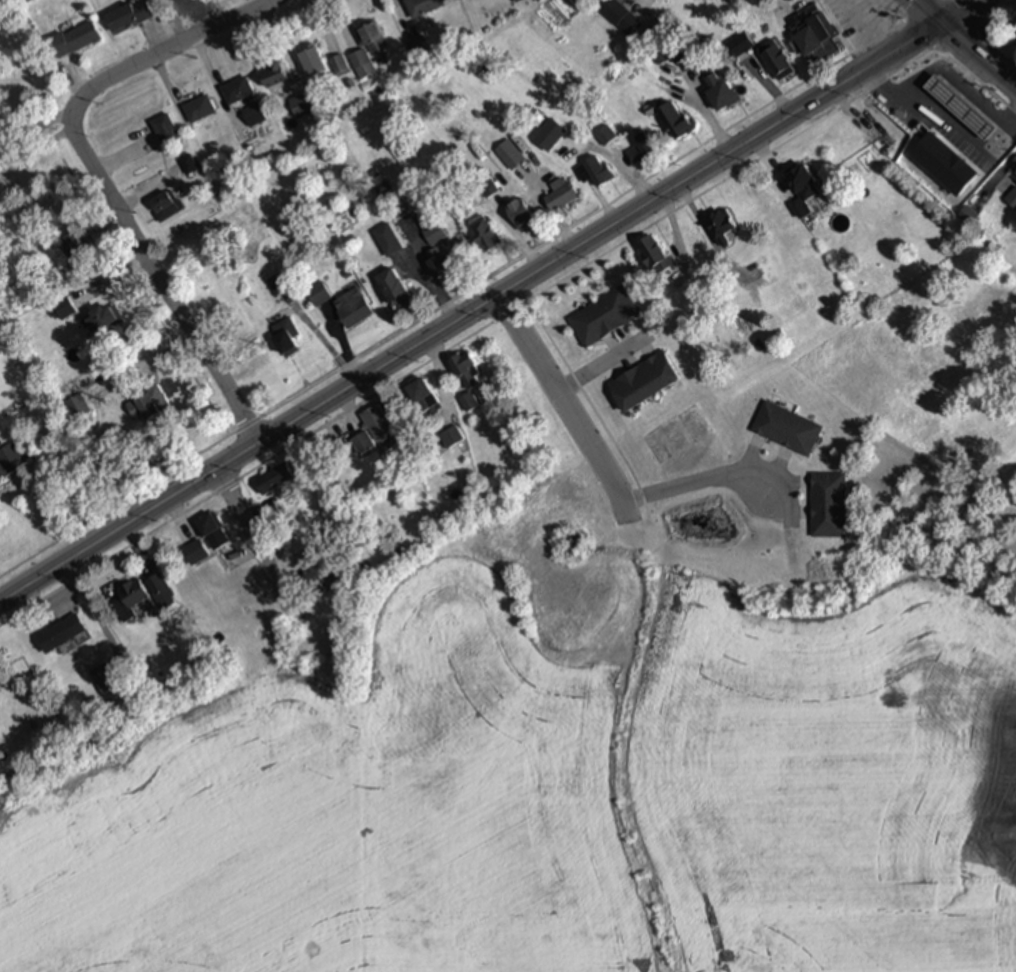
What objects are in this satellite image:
building: (789, 1)
building: (422, 7)
road: (925, 14)
building: (618, 15)
building: (128, 16)
park: (1003, 30)
building: (81, 37)
building: (807, 41)
building: (739, 46)
road: (174, 47)
building: (367, 50)
building: (774, 59)
road: (978, 60)
building: (312, 62)
building: (339, 66)
building: (273, 76)
building: (236, 91)
building: (719, 92)
building: (301, 107)
building: (199, 109)
building: (920, 115)
building: (253, 116)
building: (673, 119)
building: (164, 130)
building: (549, 135)
building: (639, 151)
building: (189, 164)
building: (36, 172)
building: (595, 172)
building: (1015, 175)
building: (801, 183)
building: (488, 188)
building: (560, 195)
building: (1012, 199)
building: (166, 205)
building: (520, 214)
building: (719, 222)
building: (431, 229)
building: (483, 233)
building: (387, 240)
building: (79, 243)
building: (653, 254)
building: (442, 260)
road: (159, 274)
building: (393, 289)
building: (318, 294)
road: (493, 300)
building: (352, 308)
building: (64, 309)
building: (603, 317)
building: (101, 321)
building: (284, 337)
building: (465, 371)
building: (643, 382)
building: (421, 396)
building: (151, 402)
road: (568, 406)
building: (376, 422)
building: (787, 429)
building: (450, 438)
building: (362, 443)
building: (10, 460)
road: (704, 478)
building: (273, 480)
building: (828, 506)
building: (207, 525)
road: (251, 535)
building: (576, 544)
building: (194, 553)
building: (317, 578)
building: (160, 592)
building: (127, 600)
building: (59, 634)
building: (102, 679)

